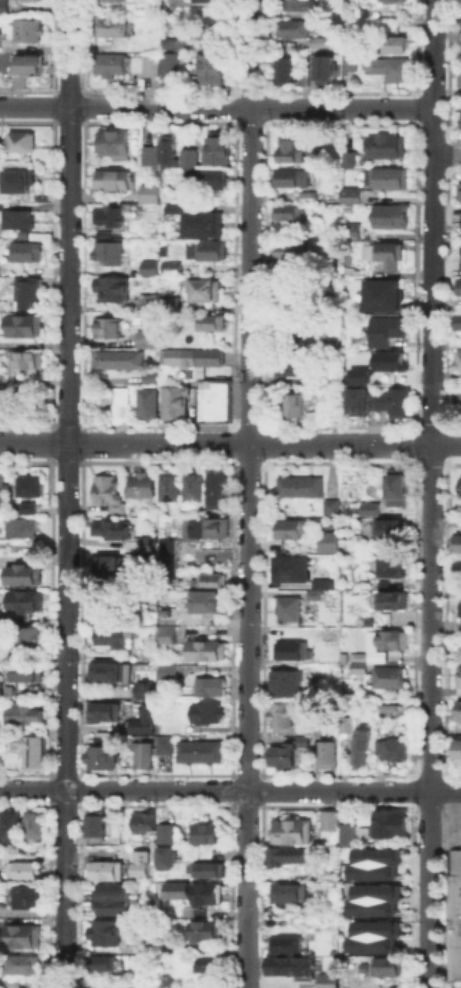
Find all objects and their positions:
building: (21, 0)
building: (113, 0)
building: (202, 0)
building: (390, 0)
building: (295, 5)
building: (3, 6)
building: (112, 25)
building: (288, 25)
building: (23, 28)
building: (212, 29)
building: (314, 38)
building: (174, 42)
building: (392, 42)
road: (432, 54)
building: (23, 64)
building: (110, 64)
building: (148, 64)
building: (166, 64)
building: (281, 67)
building: (210, 68)
building: (321, 68)
building: (388, 68)
building: (458, 76)
road: (216, 105)
building: (459, 117)
road: (432, 131)
building: (21, 140)
building: (113, 141)
building: (383, 145)
building: (215, 147)
building: (287, 147)
building: (164, 150)
building: (148, 154)
road: (446, 154)
building: (186, 157)
building: (347, 157)
building: (293, 176)
building: (387, 176)
building: (207, 177)
building: (16, 180)
building: (109, 182)
building: (148, 192)
building: (458, 192)
building: (353, 194)
building: (305, 196)
building: (172, 207)
building: (284, 211)
building: (108, 214)
building: (388, 215)
building: (16, 218)
building: (202, 223)
building: (107, 232)
building: (205, 249)
building: (287, 249)
building: (24, 251)
building: (108, 251)
building: (381, 253)
building: (460, 257)
building: (166, 264)
building: (148, 267)
building: (457, 285)
building: (202, 288)
building: (109, 289)
building: (27, 290)
building: (301, 293)
building: (376, 294)
building: (145, 300)
building: (168, 304)
building: (457, 320)
building: (210, 321)
building: (289, 324)
building: (24, 325)
building: (108, 326)
building: (384, 328)
building: (145, 337)
building: (189, 355)
building: (25, 358)
building: (117, 358)
building: (389, 359)
building: (456, 360)
building: (285, 363)
building: (357, 374)
building: (148, 376)
building: (2, 398)
building: (213, 399)
building: (378, 400)
building: (173, 401)
building: (293, 401)
building: (118, 402)
building: (146, 402)
road: (230, 443)
building: (27, 484)
building: (141, 484)
building: (459, 485)
building: (167, 486)
building: (191, 486)
building: (298, 486)
building: (103, 487)
building: (217, 489)
building: (396, 490)
building: (2, 492)
road: (247, 493)
road: (66, 494)
building: (24, 505)
building: (330, 506)
building: (368, 508)
building: (460, 523)
building: (202, 526)
building: (20, 527)
building: (109, 527)
building: (289, 528)
building: (392, 529)
building: (328, 542)
building: (456, 542)
building: (147, 543)
building: (107, 566)
building: (457, 566)
building: (290, 567)
building: (385, 567)
road: (429, 570)
building: (20, 574)
building: (207, 579)
building: (319, 583)
building: (312, 595)
building: (393, 598)
building: (24, 600)
building: (204, 600)
building: (458, 606)
building: (286, 609)
building: (163, 611)
building: (164, 634)
building: (26, 635)
building: (110, 636)
building: (391, 638)
building: (291, 649)
building: (205, 650)
building: (457, 652)
building: (358, 655)
building: (375, 656)
building: (357, 668)
building: (23, 671)
building: (105, 671)
building: (165, 671)
building: (457, 674)
building: (387, 676)
building: (283, 682)
building: (209, 686)
building: (144, 690)
building: (455, 709)
building: (102, 711)
building: (206, 712)
building: (22, 713)
building: (280, 714)
building: (142, 719)
building: (315, 724)
building: (345, 726)
building: (163, 728)
building: (302, 741)
building: (162, 744)
building: (359, 747)
building: (457, 748)
building: (389, 749)
building: (31, 750)
building: (199, 751)
building: (326, 754)
building: (141, 755)
building: (280, 755)
building: (100, 758)
road: (230, 788)
building: (327, 819)
building: (141, 822)
building: (387, 822)
building: (32, 823)
building: (93, 825)
building: (8, 826)
building: (290, 830)
building: (361, 831)
building: (168, 832)
building: (203, 832)
building: (344, 834)
building: (285, 855)
building: (164, 856)
building: (372, 863)
building: (21, 869)
building: (103, 869)
building: (207, 869)
building: (174, 889)
building: (287, 891)
building: (205, 892)
building: (23, 896)
building: (110, 899)
building: (372, 899)
building: (454, 914)
building: (204, 931)
building: (102, 933)
building: (22, 936)
building: (371, 936)
building: (283, 942)
building: (142, 945)
building: (98, 962)
building: (24, 964)
building: (205, 964)
building: (282, 965)
building: (386, 965)
building: (325, 980)
building: (10, 982)
building: (455, 982)
building: (146, 983)

